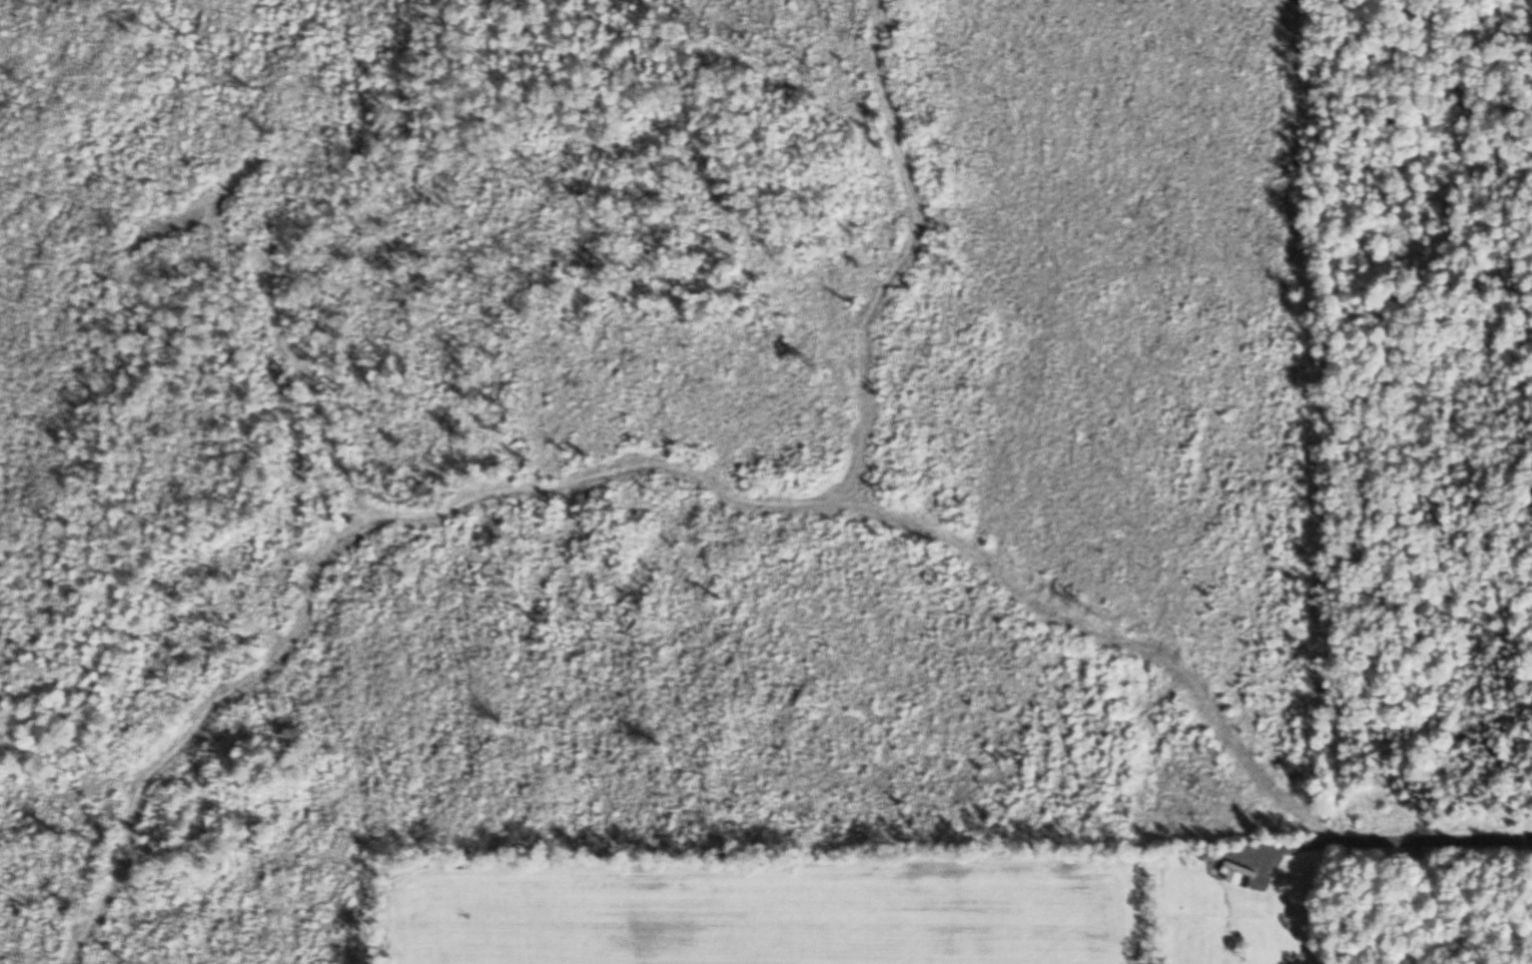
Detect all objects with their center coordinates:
road: (1386, 855)

